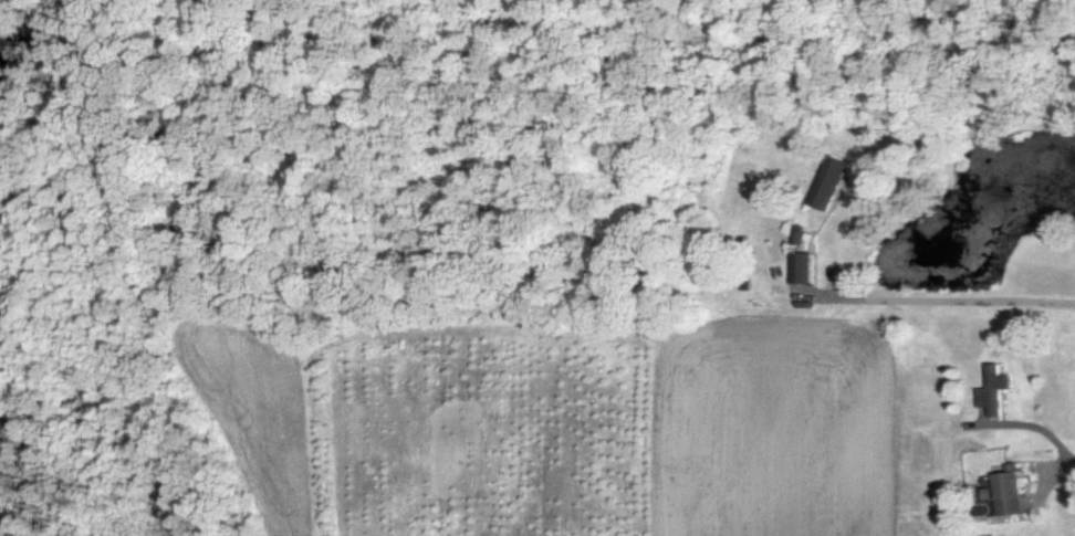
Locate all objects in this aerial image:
building: (828, 181)
building: (799, 233)
building: (802, 266)
road: (944, 298)
building: (994, 389)
road: (1062, 462)
building: (1005, 490)

